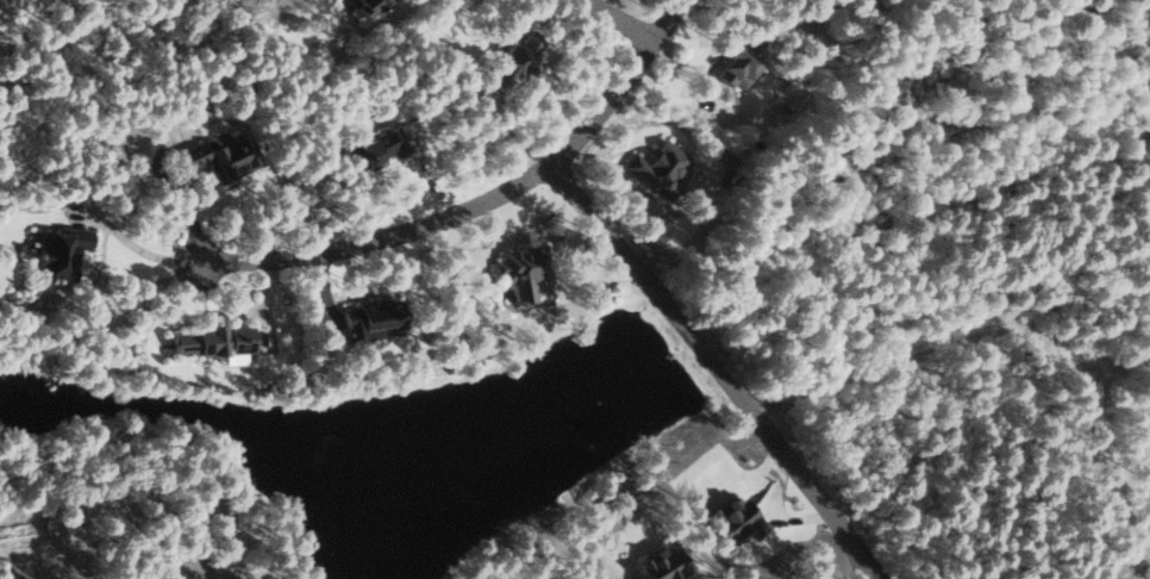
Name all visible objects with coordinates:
building: (368, 5)
road: (620, 20)
road: (18, 43)
building: (515, 55)
park: (50, 57)
building: (743, 60)
road: (627, 88)
road: (105, 102)
building: (377, 147)
park: (1056, 151)
building: (223, 156)
building: (660, 166)
road: (381, 242)
building: (61, 250)
building: (523, 269)
dam: (636, 306)
building: (373, 316)
dam: (649, 331)
road: (954, 332)
building: (214, 341)
road: (94, 342)
road: (718, 372)
dam: (671, 373)
dam: (687, 400)
road: (1149, 435)
road: (1140, 442)
park: (1137, 456)
building: (736, 519)
road: (858, 555)
building: (663, 565)

